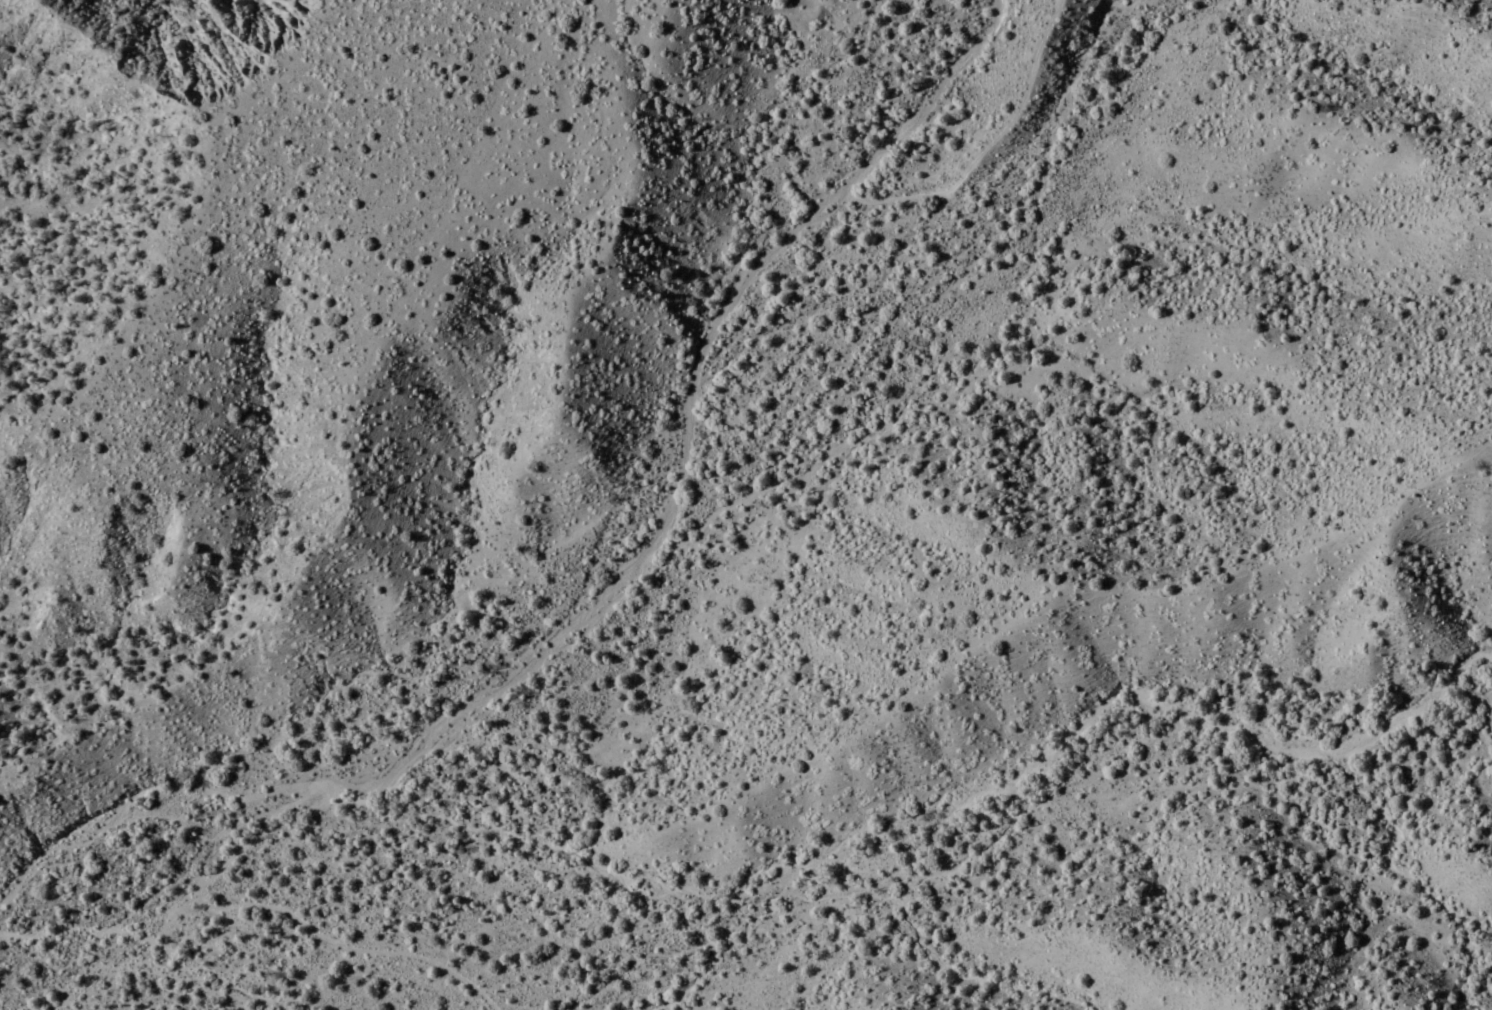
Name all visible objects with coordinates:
road: (1451, 999)

